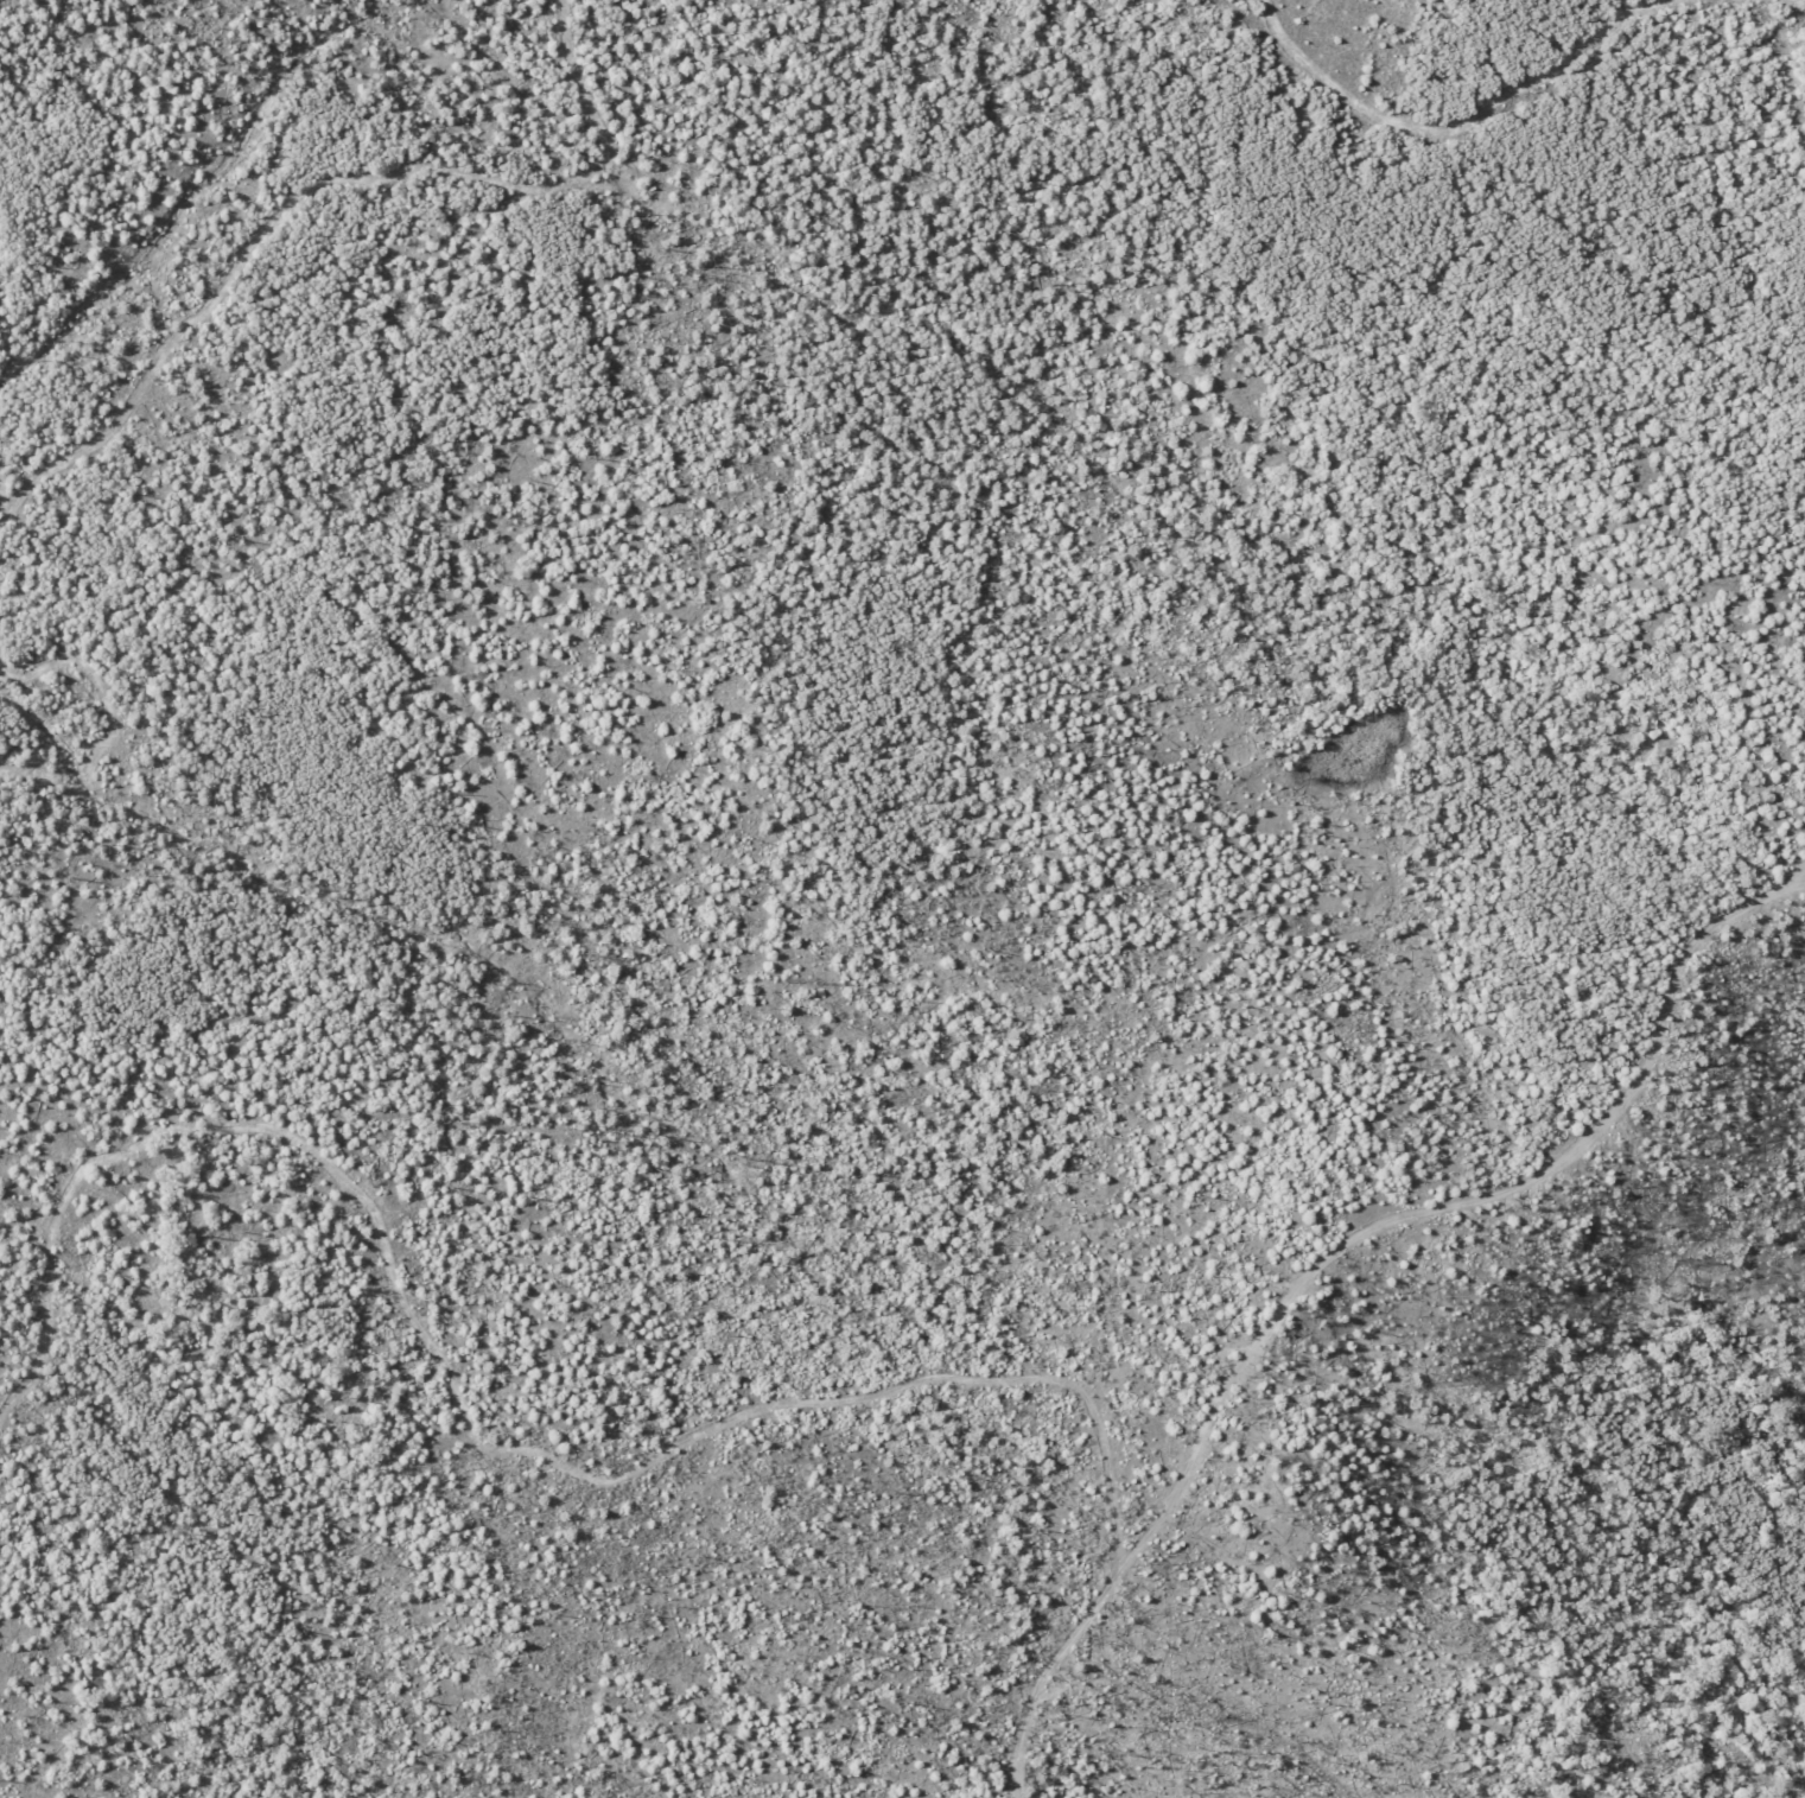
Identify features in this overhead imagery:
park: (902, 898)

